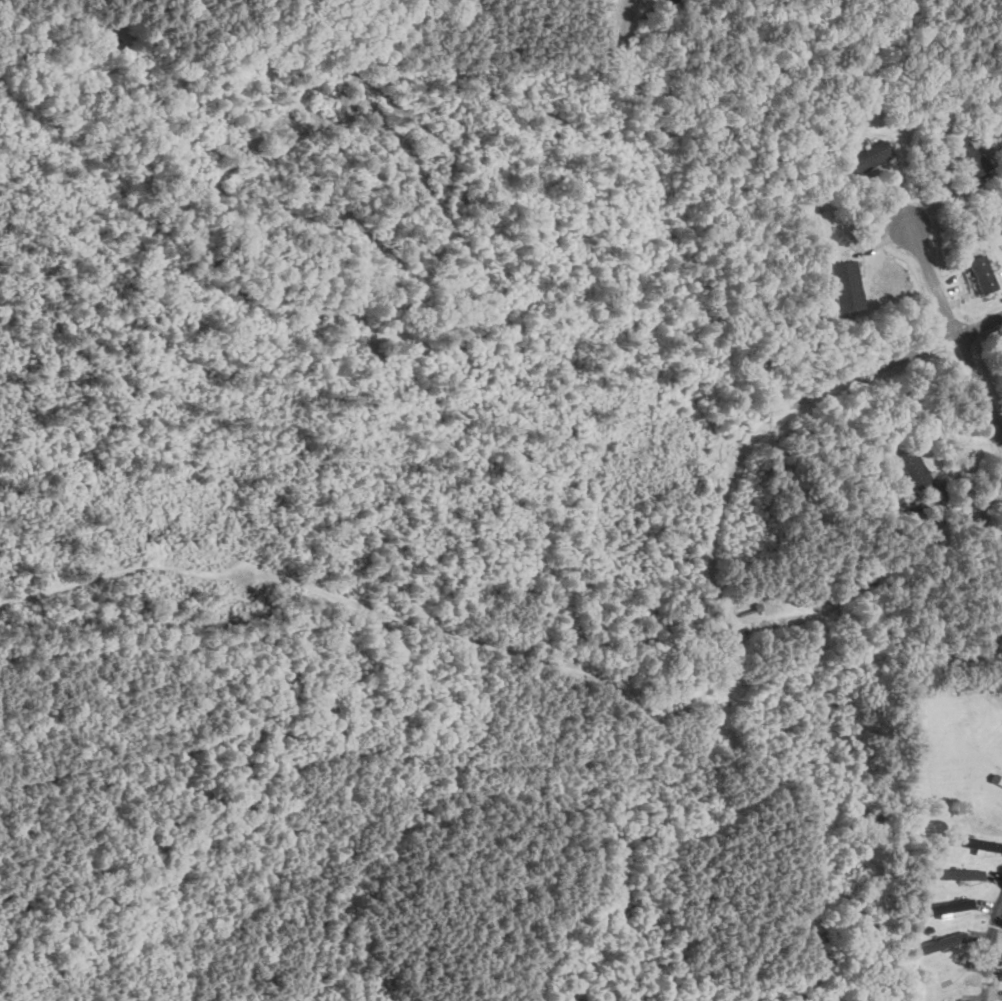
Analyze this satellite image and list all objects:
building: (668, 1)
building: (871, 156)
building: (969, 159)
building: (978, 274)
building: (847, 286)
road: (950, 324)
road: (898, 359)
building: (913, 470)
building: (976, 843)
building: (957, 873)
building: (940, 942)
road: (989, 947)

